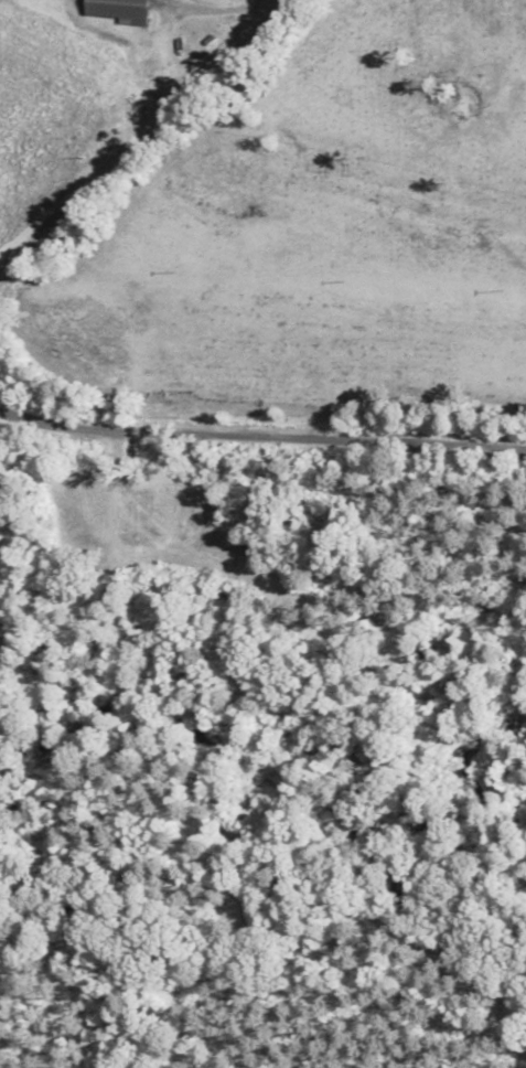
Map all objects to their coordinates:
building: (120, 10)
road: (262, 435)

